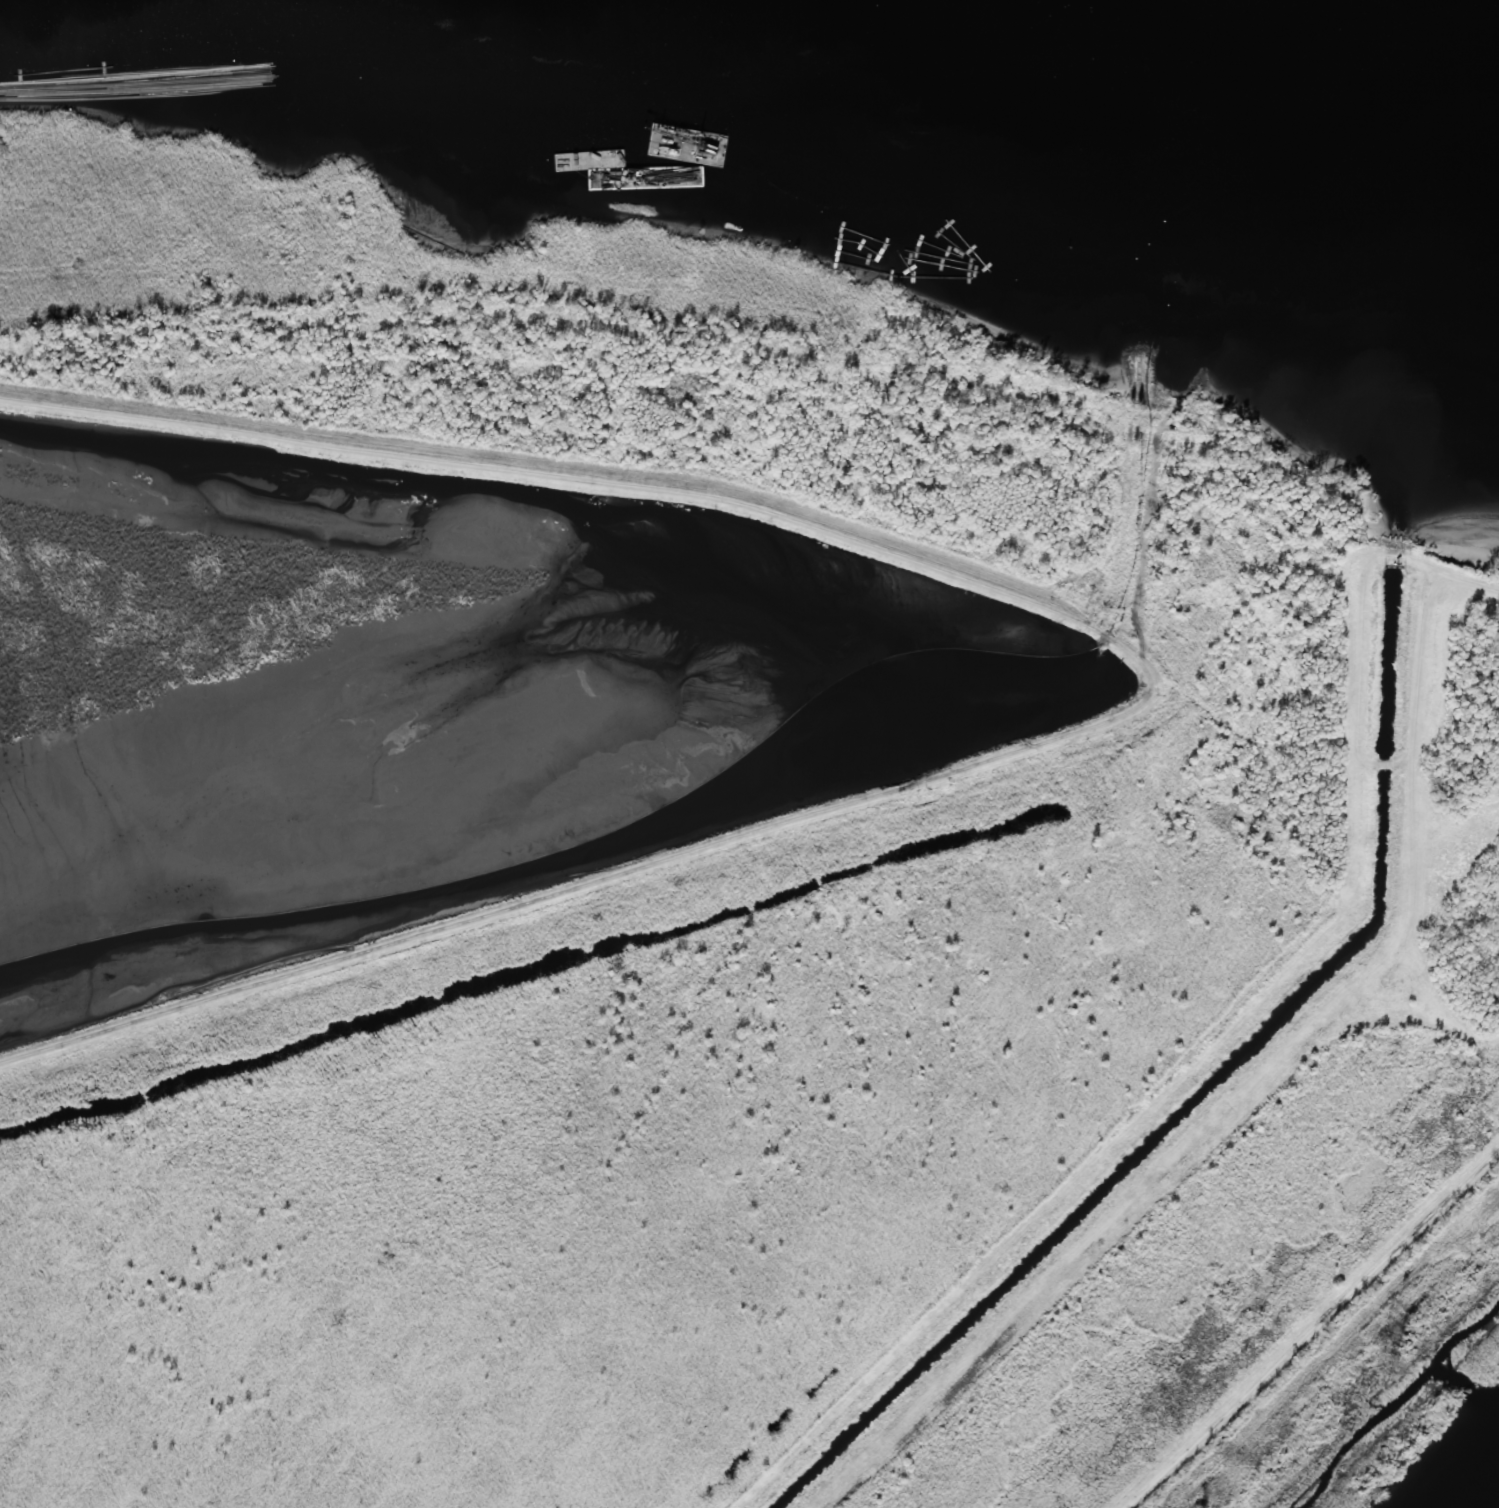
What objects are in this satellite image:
river: (1203, 51)
power tower: (1389, 1364)

